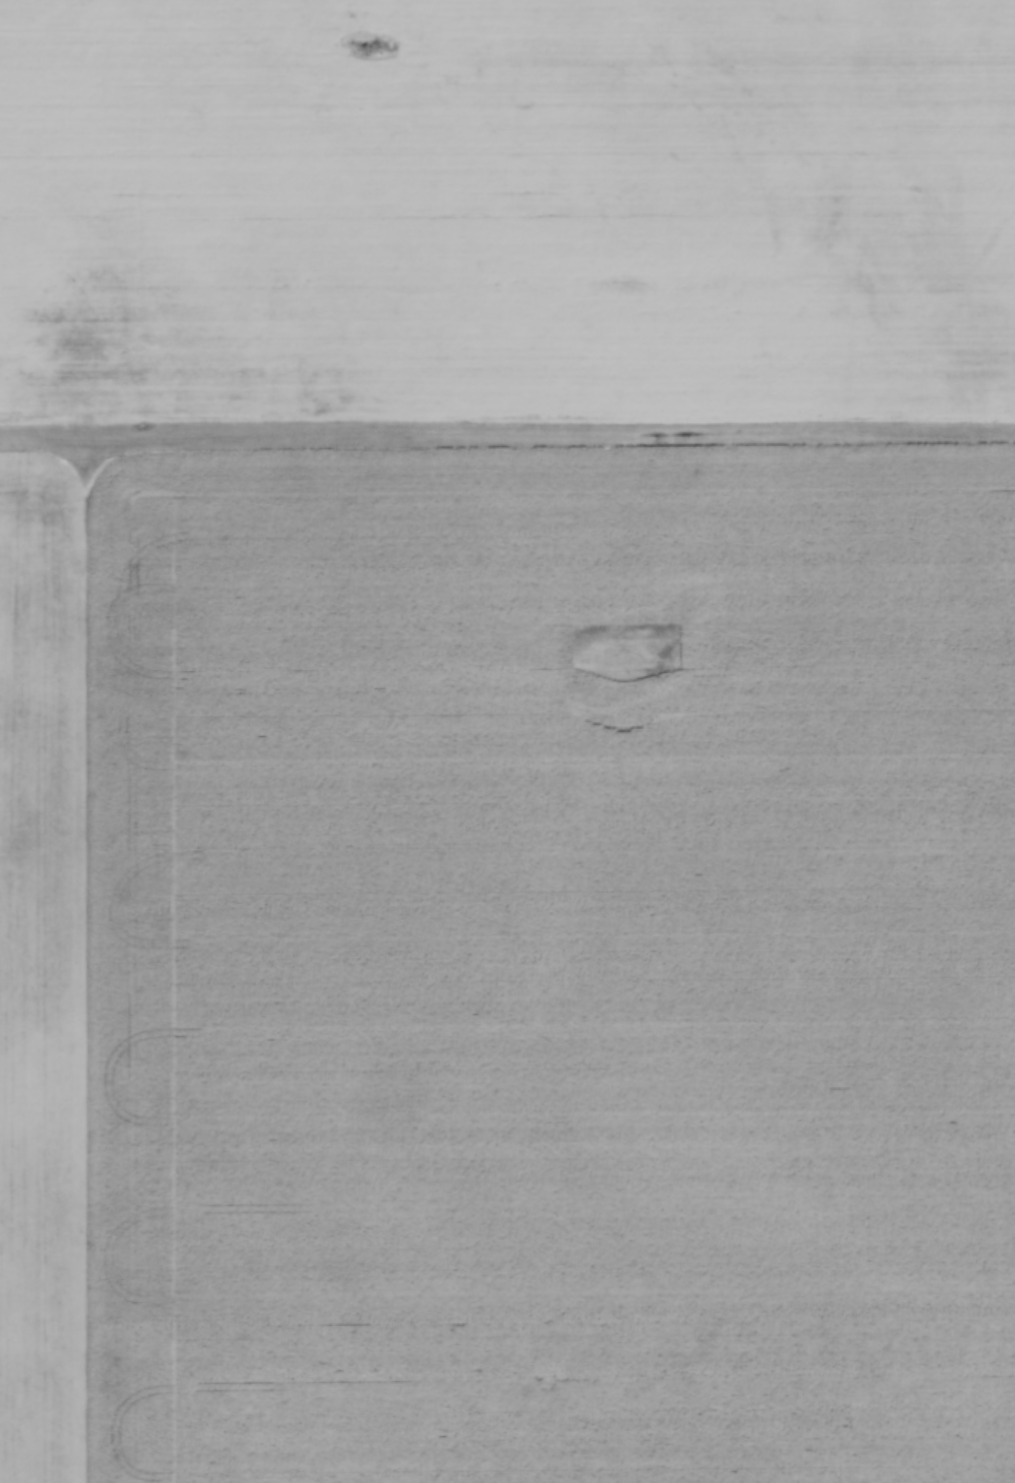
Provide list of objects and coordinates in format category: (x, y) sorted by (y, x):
road: (507, 438)

